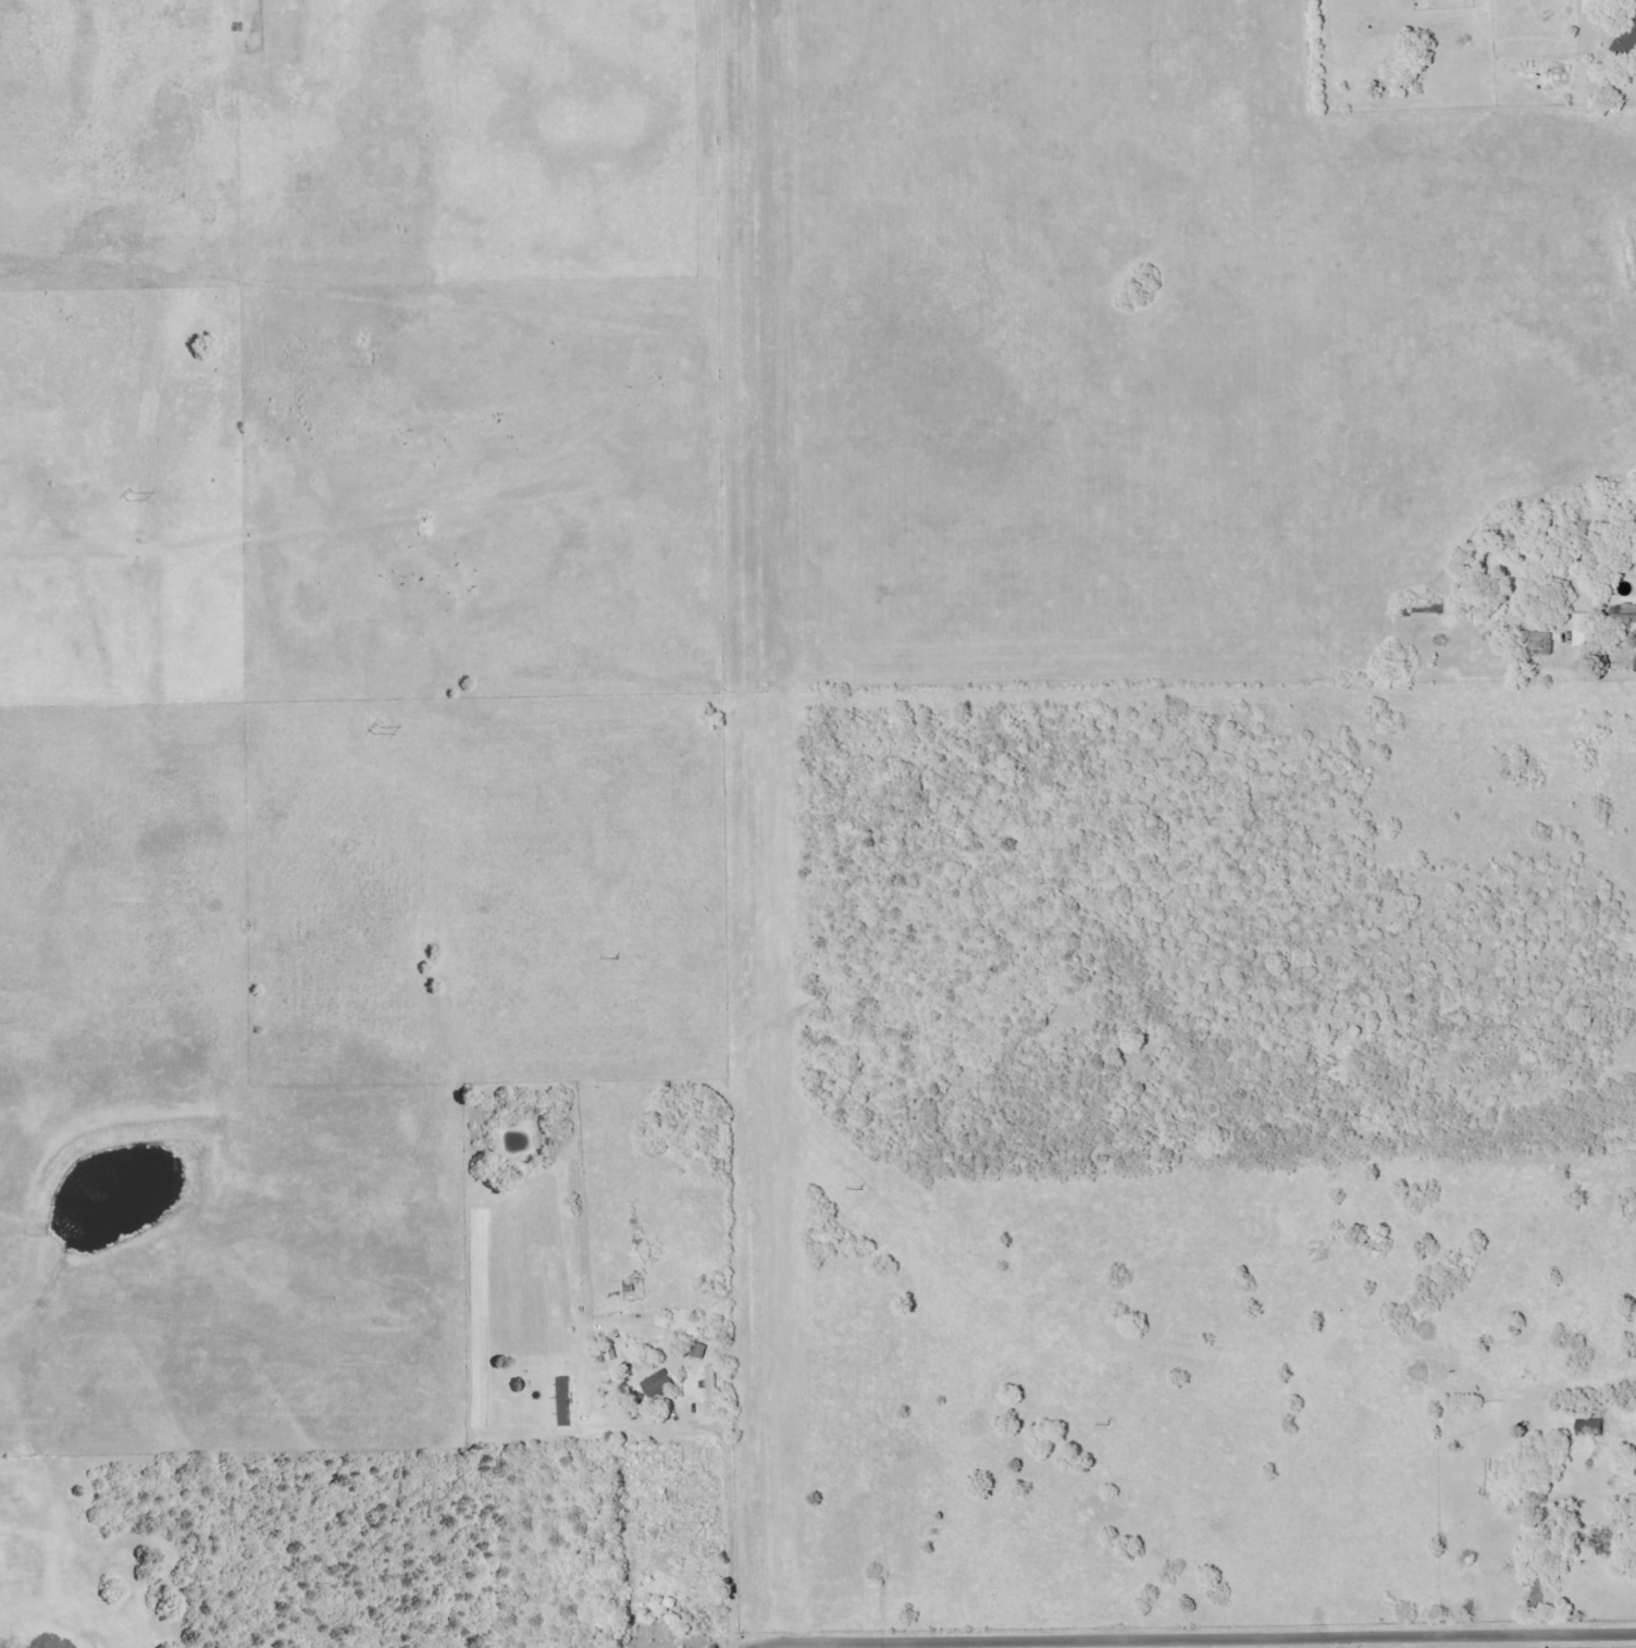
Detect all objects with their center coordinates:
building: (1627, 41)
power tower: (117, 491)
building: (1625, 617)
building: (1579, 630)
building: (1633, 664)
road: (1606, 676)
power tower: (364, 721)
power tower: (607, 952)
power tower: (851, 1186)
building: (630, 1286)
building: (699, 1351)
building: (658, 1384)
building: (712, 1384)
building: (562, 1402)
road: (731, 1482)
road: (1198, 1635)

